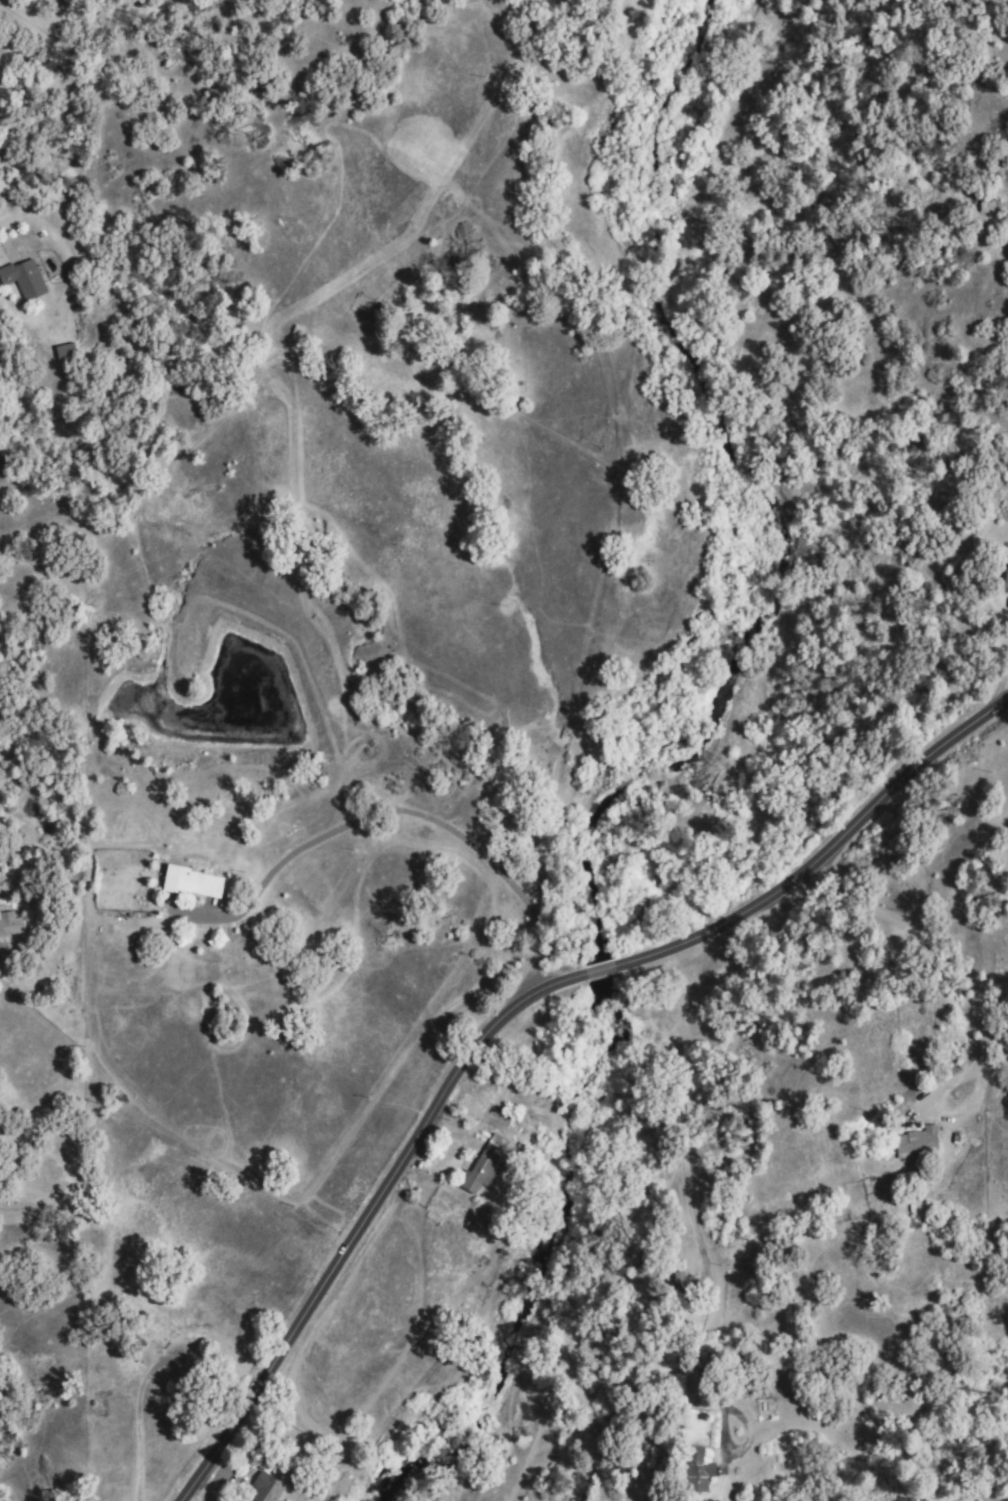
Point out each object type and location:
building: (27, 277)
building: (69, 349)
building: (1005, 577)
road: (979, 780)
building: (198, 881)
building: (13, 922)
road: (951, 958)
road: (512, 1014)
road: (670, 1125)
building: (916, 1140)
building: (483, 1162)
building: (694, 1469)
building: (264, 1486)

